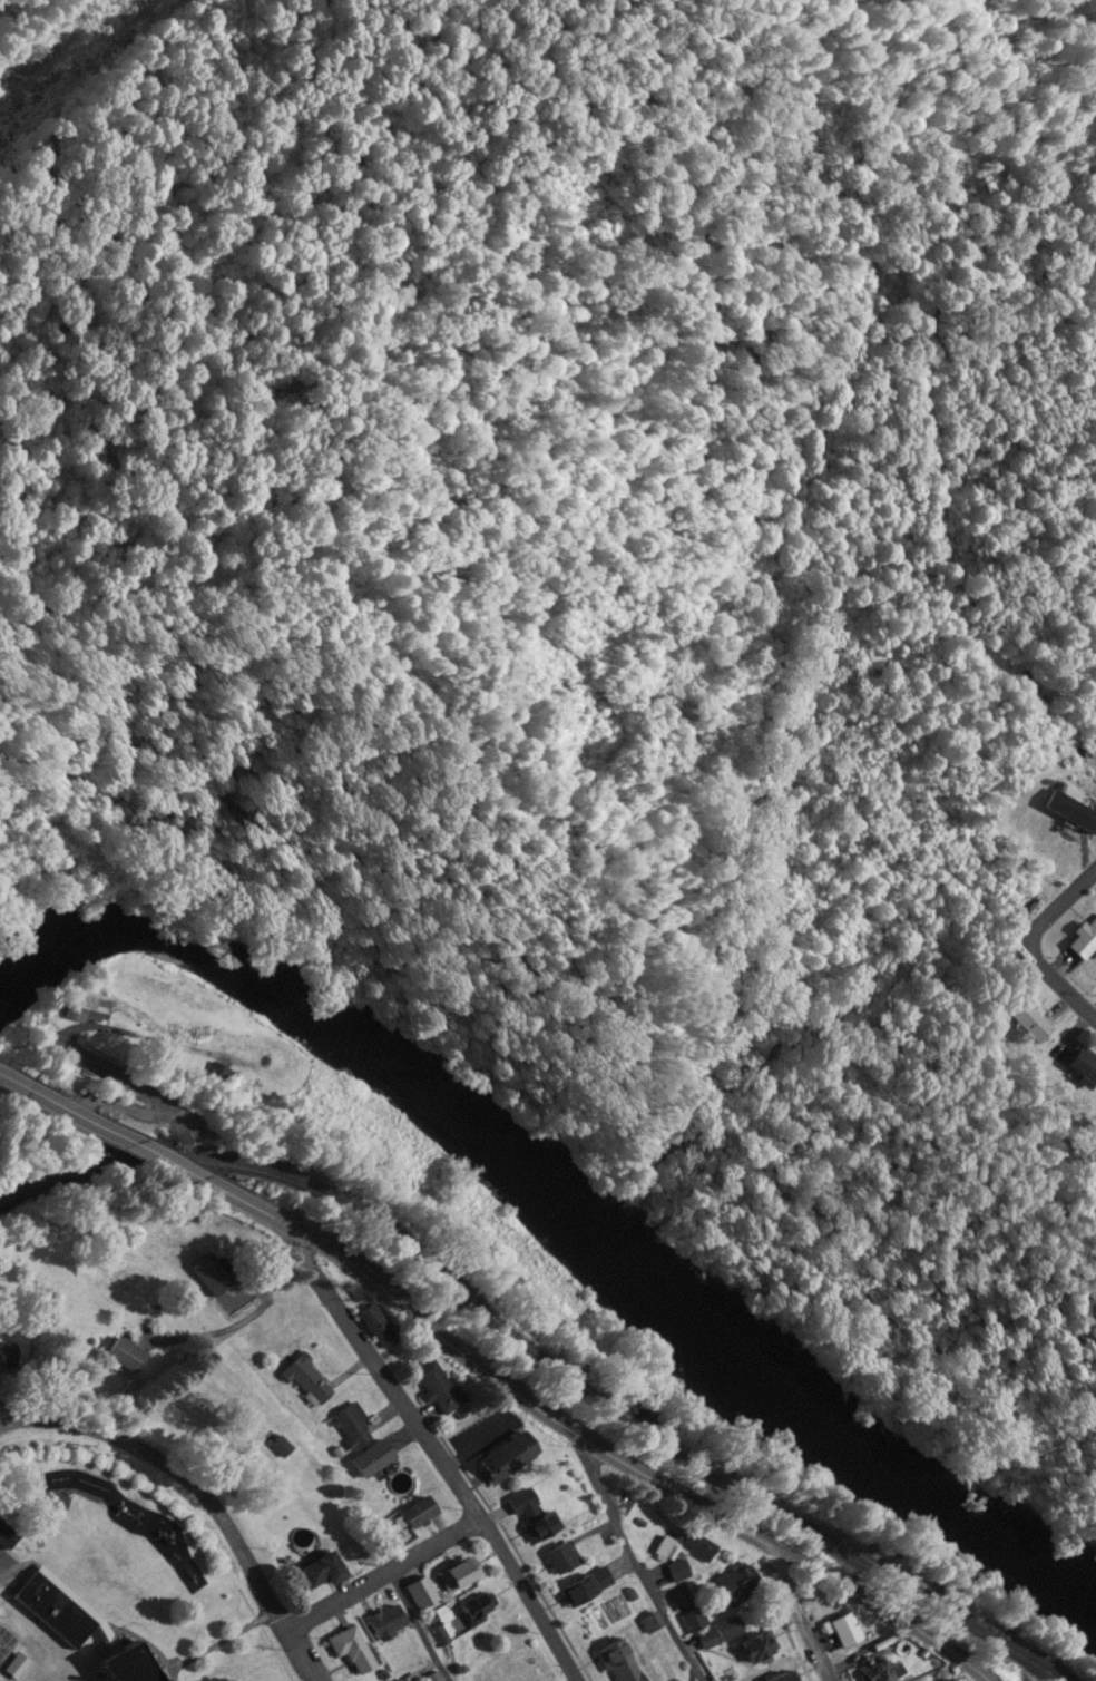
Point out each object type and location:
building: (1073, 811)
building: (1086, 940)
road: (1034, 946)
building: (91, 1009)
building: (1031, 1019)
road: (62, 1036)
building: (1087, 1071)
road: (105, 1102)
road: (138, 1146)
river: (558, 1204)
building: (215, 1274)
building: (382, 1327)
railway: (555, 1342)
building: (126, 1355)
building: (442, 1388)
building: (352, 1426)
road: (438, 1458)
building: (512, 1458)
building: (374, 1459)
road: (624, 1464)
road: (197, 1494)
building: (418, 1515)
building: (535, 1515)
building: (689, 1548)
building: (562, 1561)
road: (633, 1567)
building: (679, 1572)
building: (322, 1574)
road: (381, 1577)
building: (460, 1577)
building: (735, 1586)
building: (588, 1589)
building: (421, 1594)
building: (0, 1603)
building: (57, 1611)
building: (479, 1611)
road: (794, 1618)
building: (695, 1622)
building: (388, 1623)
road: (418, 1628)
building: (436, 1632)
building: (723, 1633)
building: (760, 1649)
building: (354, 1651)
building: (622, 1662)
building: (138, 1664)
building: (881, 1673)
building: (786, 1677)
building: (401, 1680)
building: (966, 1680)

